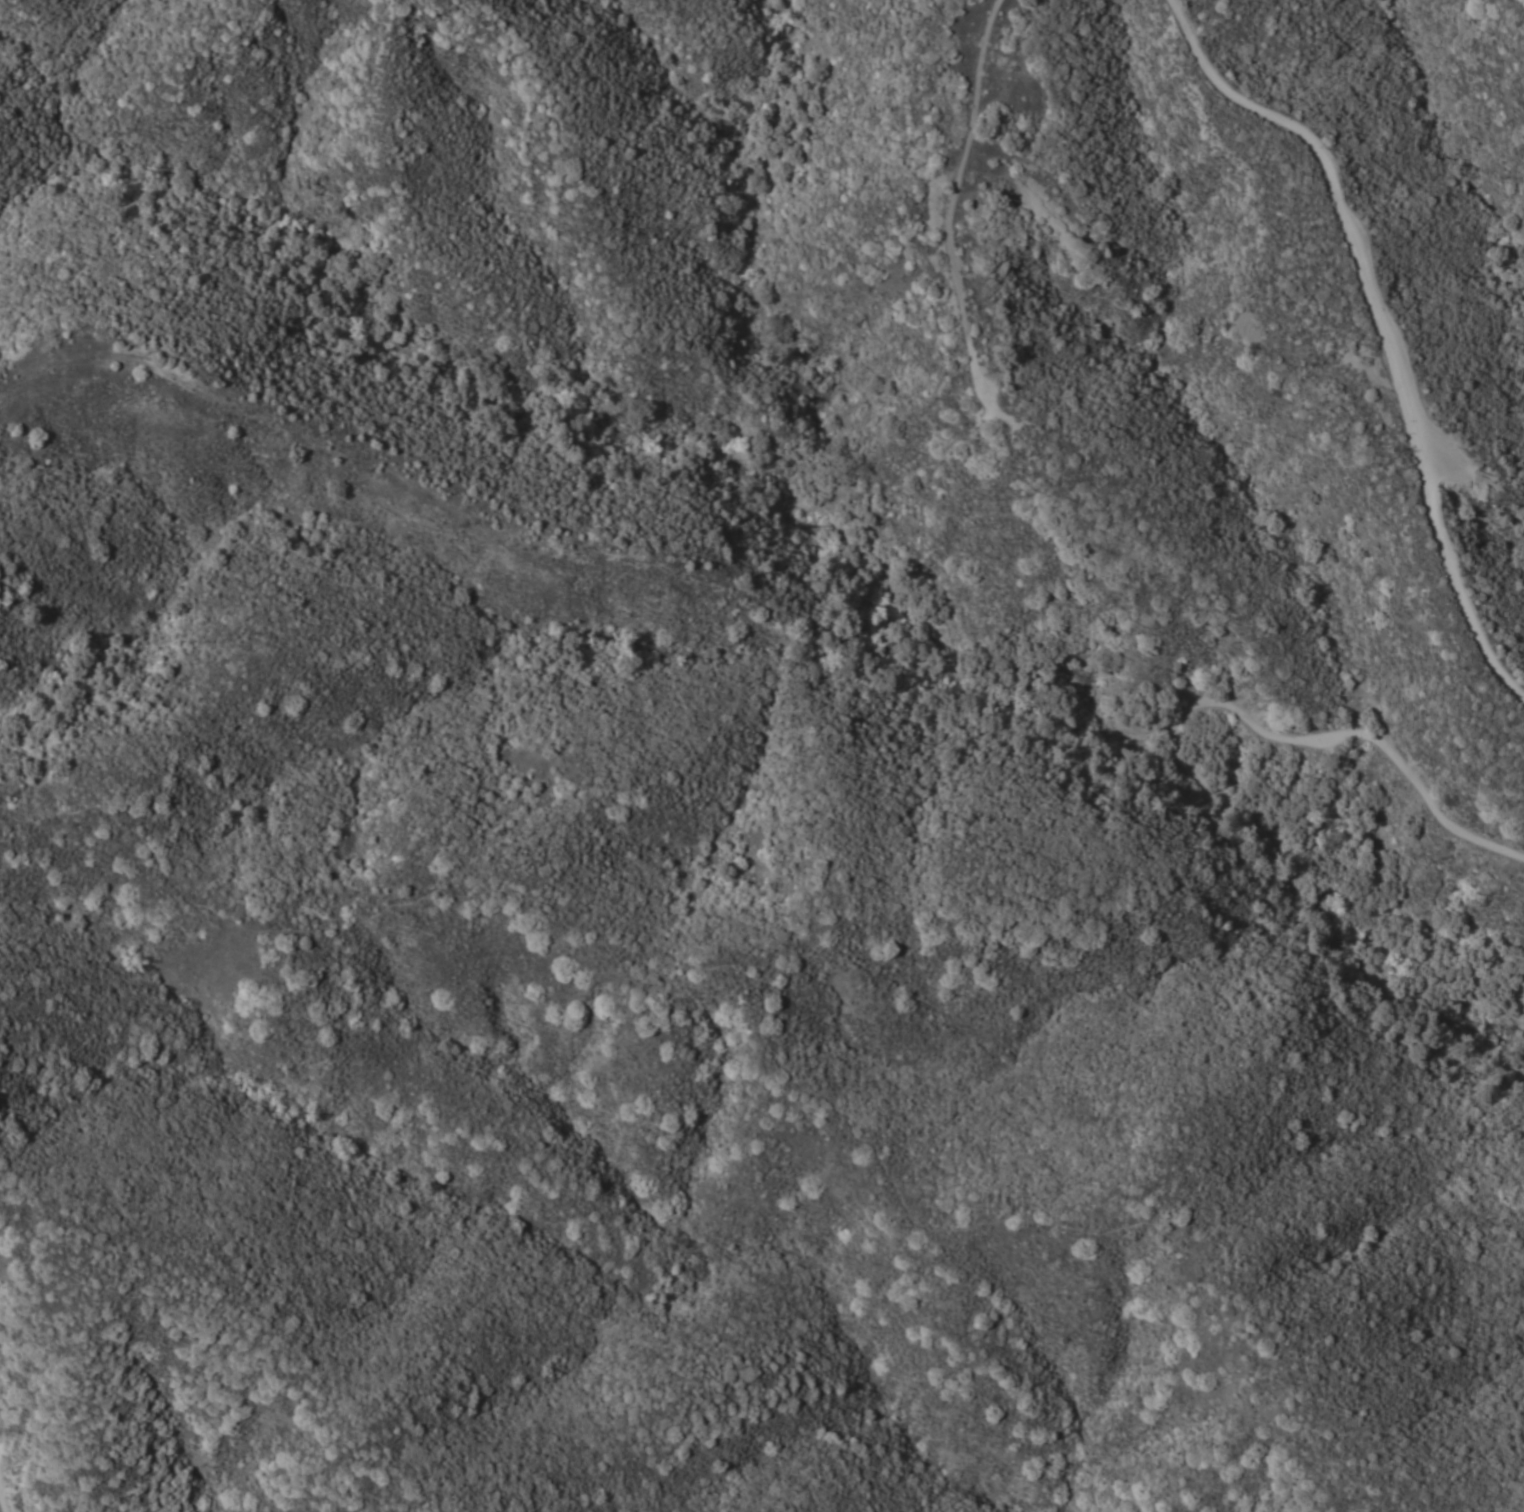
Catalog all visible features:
road: (949, 200)
road: (1382, 324)
road: (1190, 760)
road: (760, 1007)
road: (238, 1305)
road: (5, 1484)

